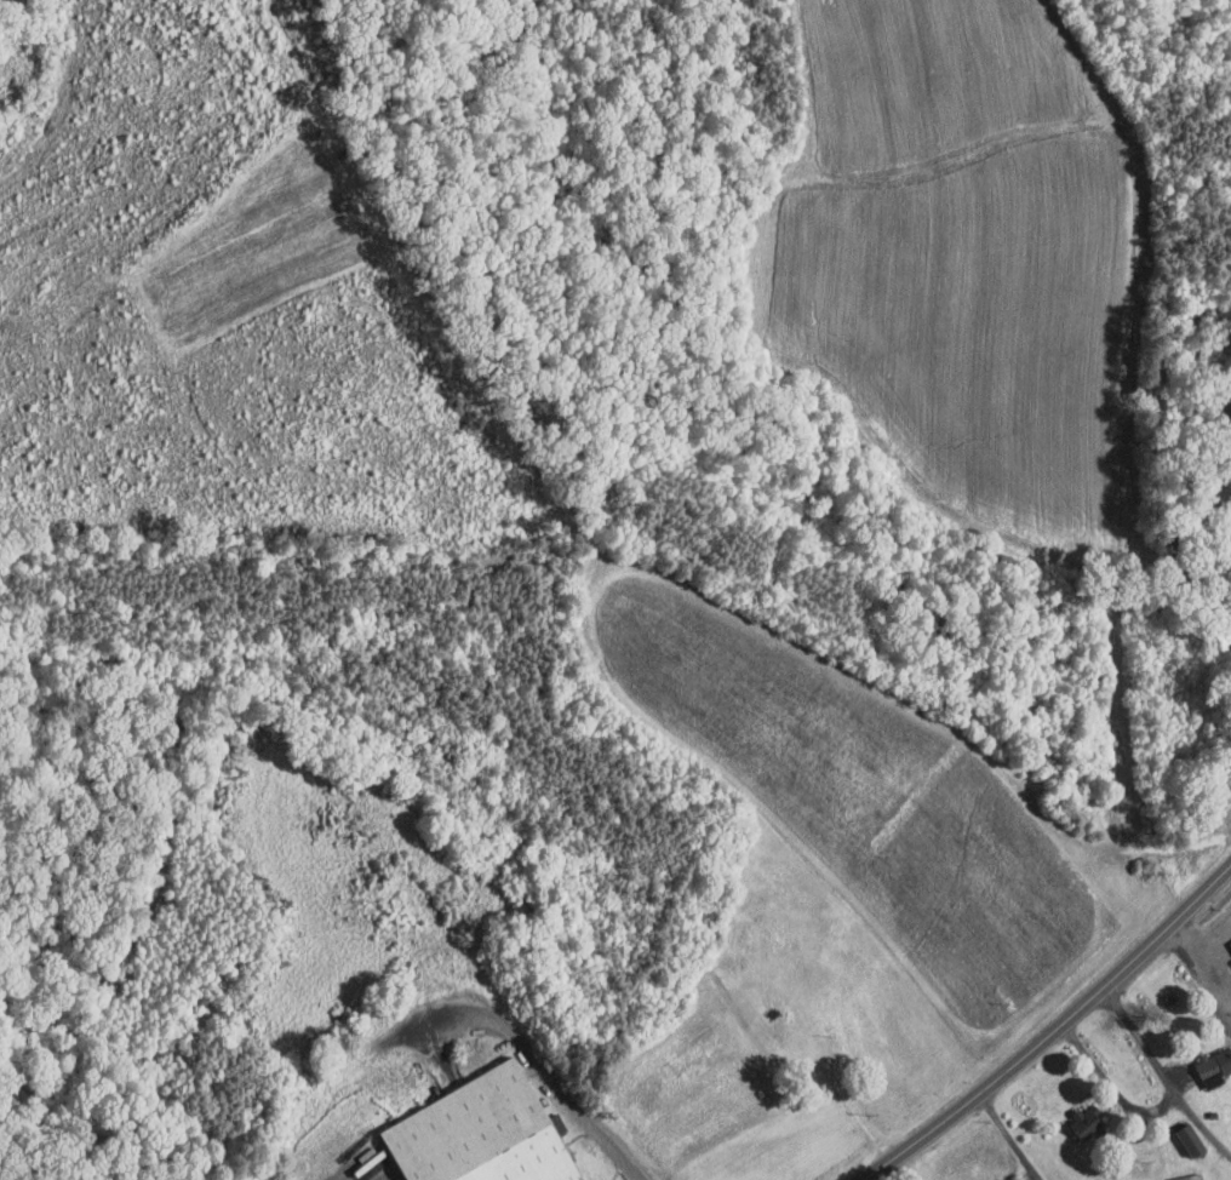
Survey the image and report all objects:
road: (1203, 939)
building: (1225, 945)
road: (1055, 1032)
building: (1206, 1058)
road: (545, 1071)
road: (1163, 1072)
road: (1110, 1090)
building: (1076, 1115)
building: (474, 1128)
building: (1178, 1132)
road: (1012, 1138)
building: (1168, 1174)
building: (989, 1176)

